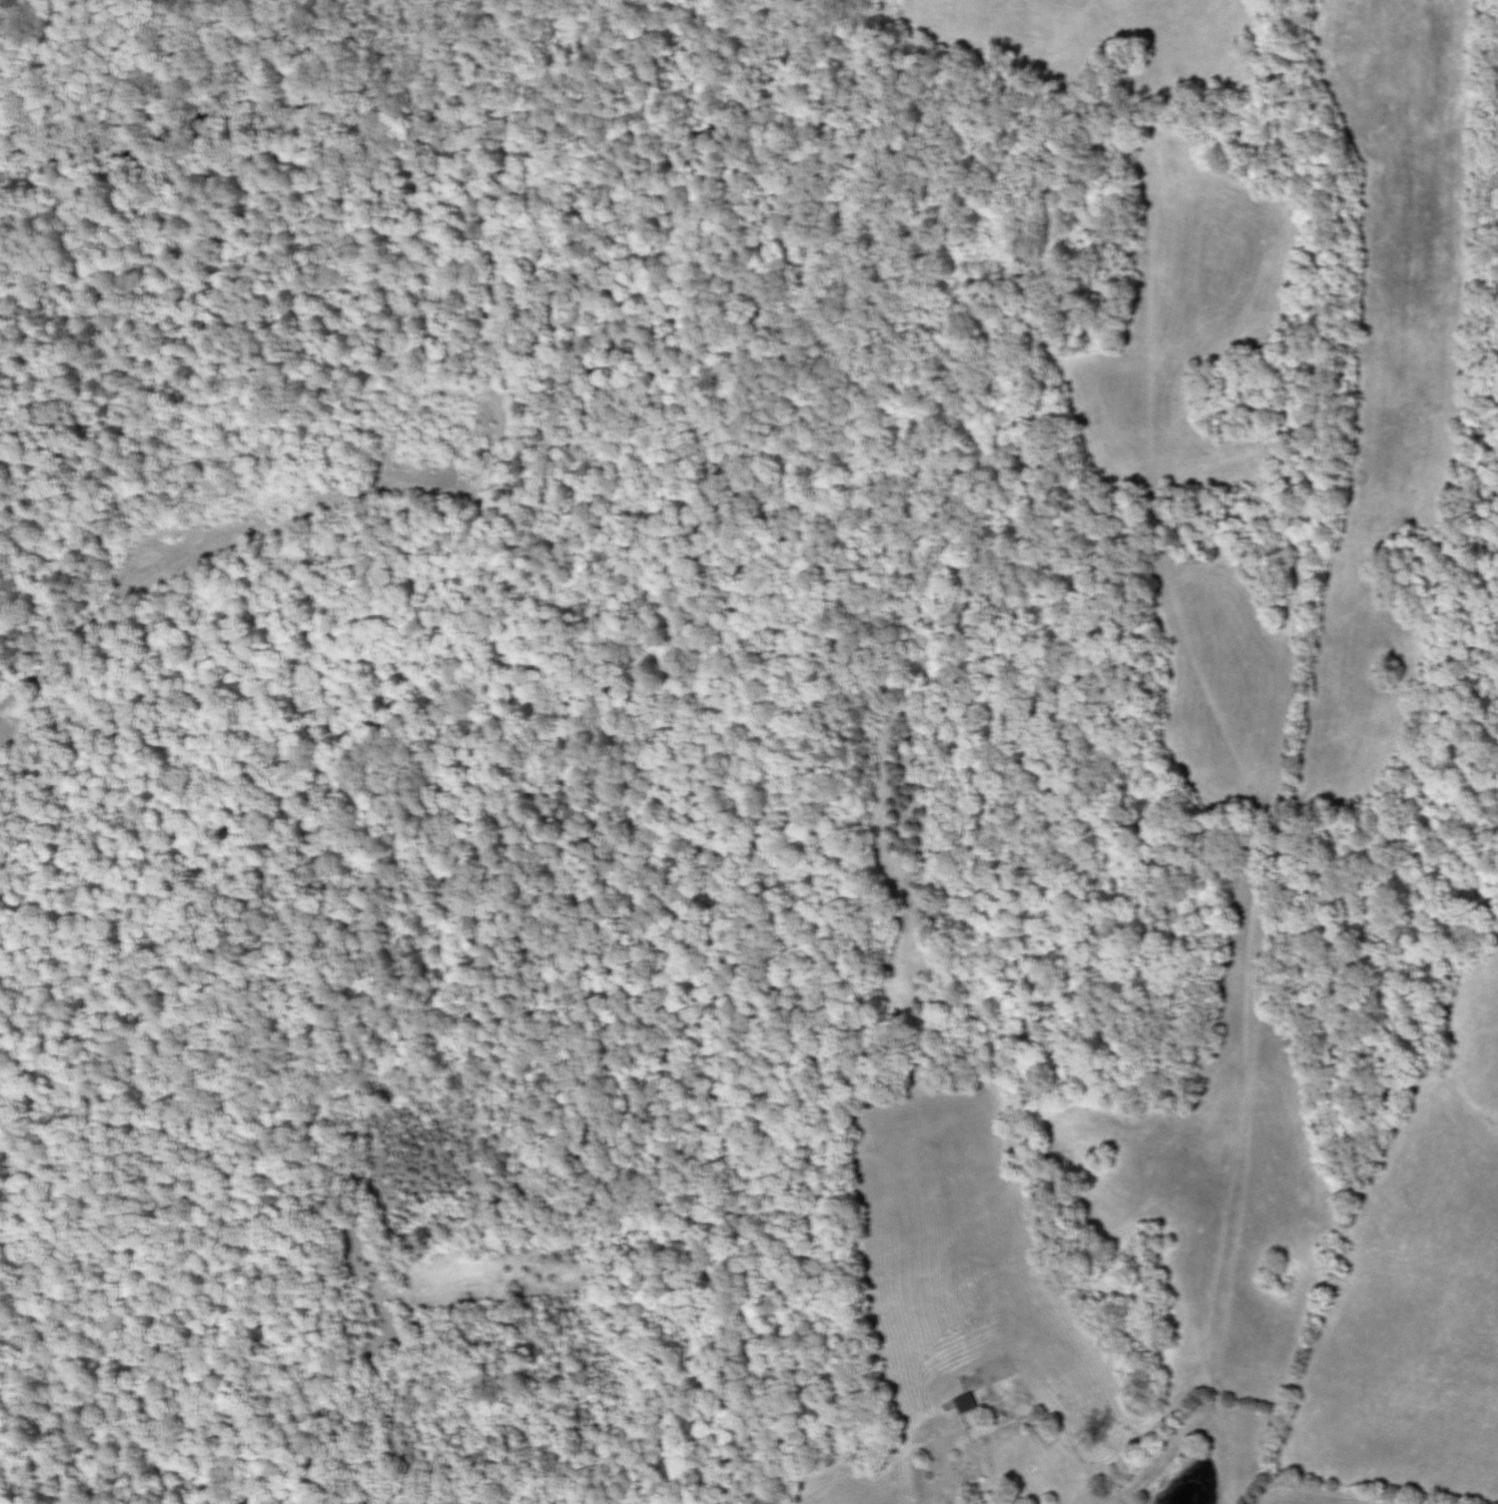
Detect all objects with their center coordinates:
building: (970, 1405)

